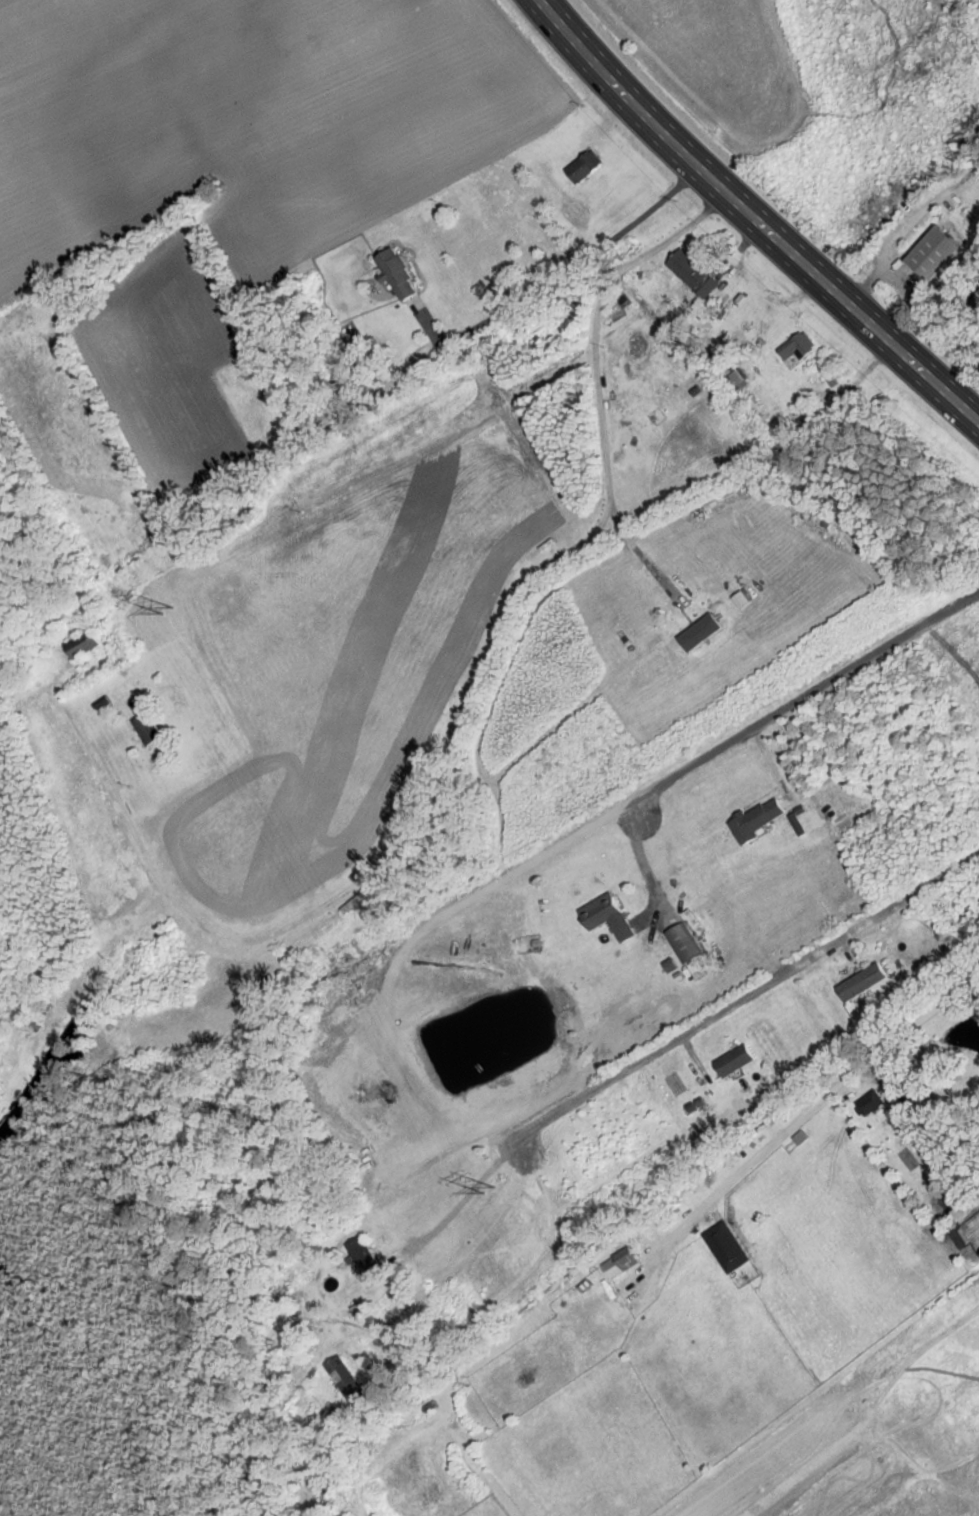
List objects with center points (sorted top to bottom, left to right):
building: (585, 166)
road: (750, 218)
building: (936, 254)
road: (575, 263)
building: (695, 271)
building: (398, 273)
building: (798, 345)
building: (736, 378)
road: (641, 558)
power tower: (169, 610)
building: (83, 643)
road: (498, 659)
road: (802, 697)
building: (148, 728)
building: (757, 820)
building: (609, 916)
building: (682, 943)
building: (864, 982)
road: (733, 1011)
building: (737, 1061)
building: (872, 1104)
power tower: (490, 1190)
building: (405, 1198)
building: (727, 1247)
building: (368, 1259)
building: (621, 1262)
building: (349, 1381)

